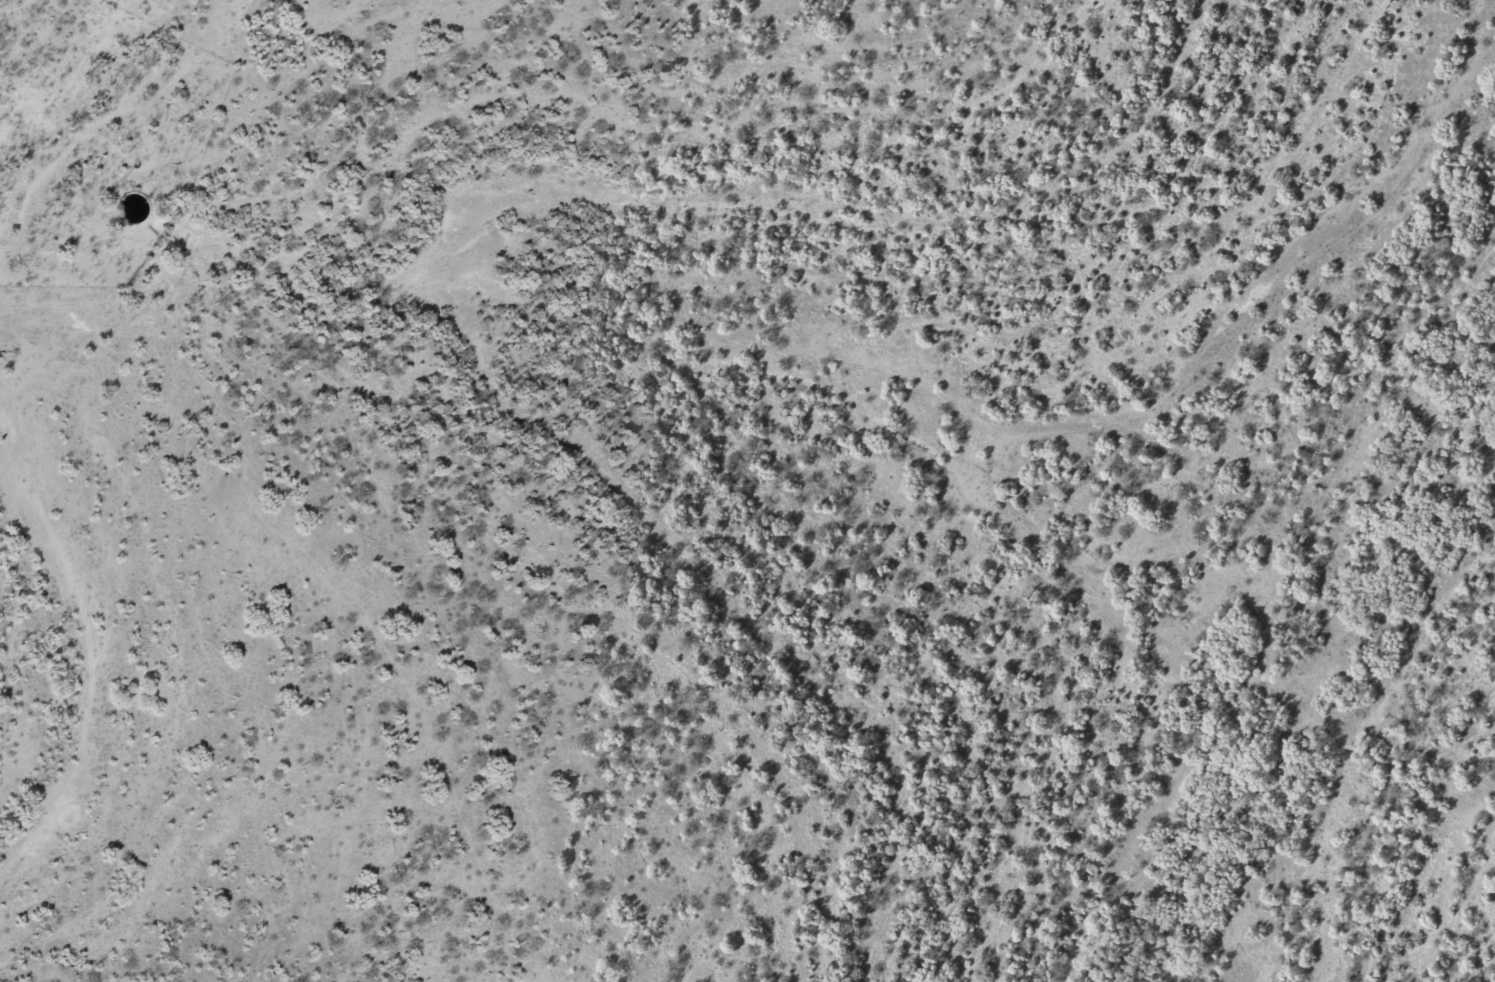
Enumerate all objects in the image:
road: (51, 115)

